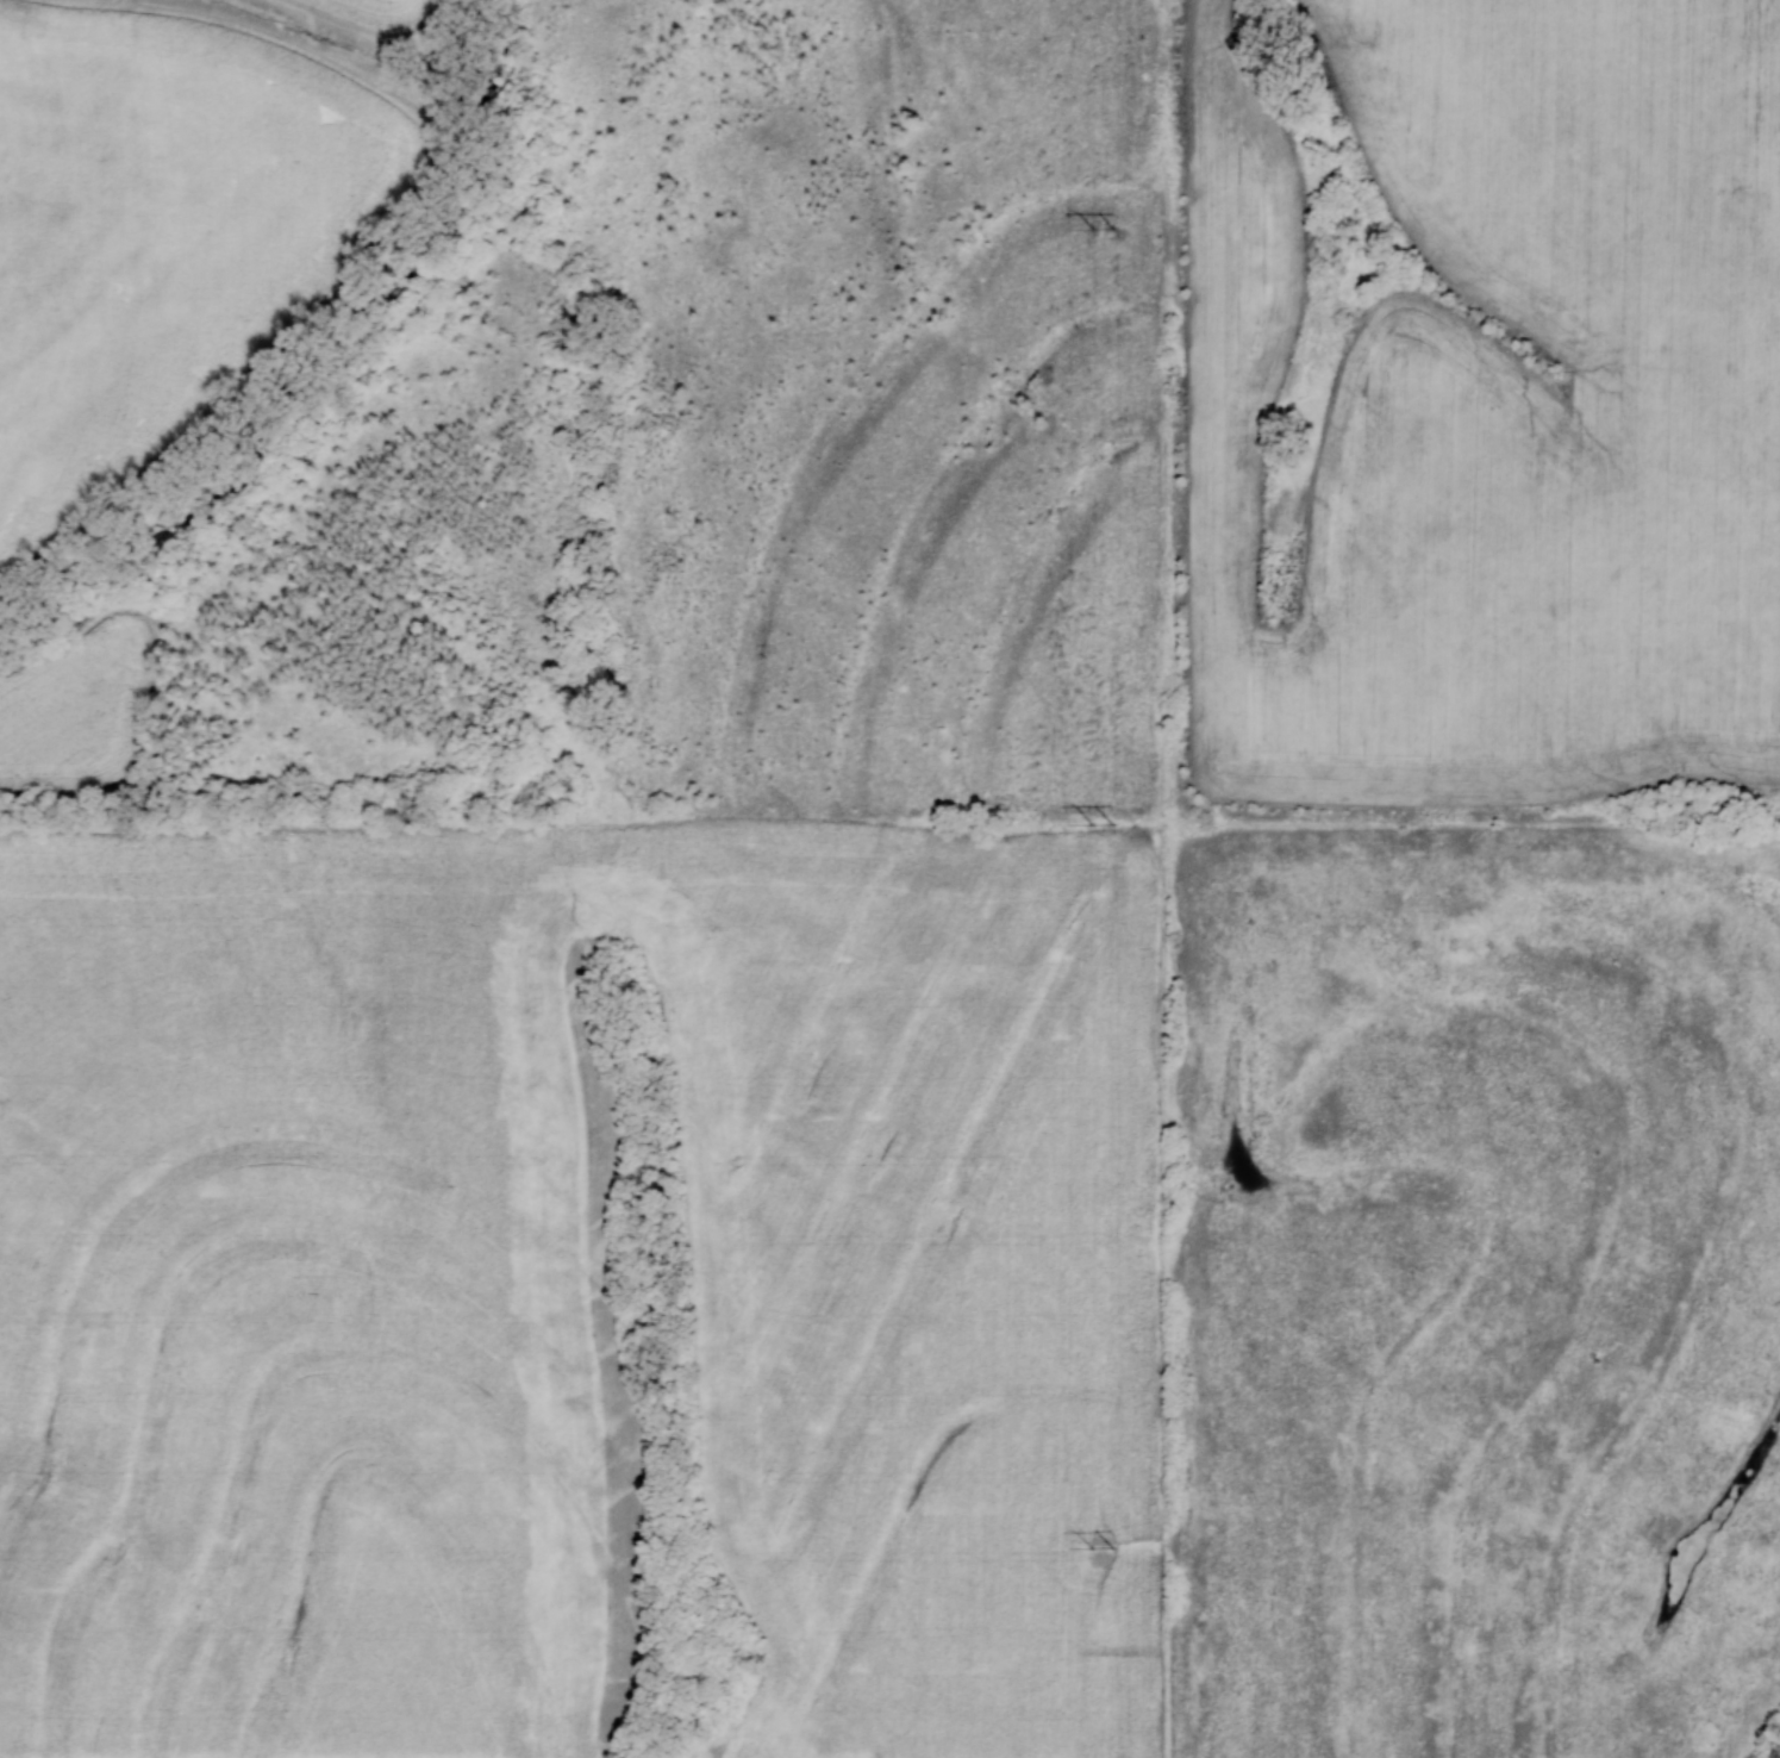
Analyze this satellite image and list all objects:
power tower: (1107, 232)
power tower: (1100, 848)
power tower: (1098, 1573)

